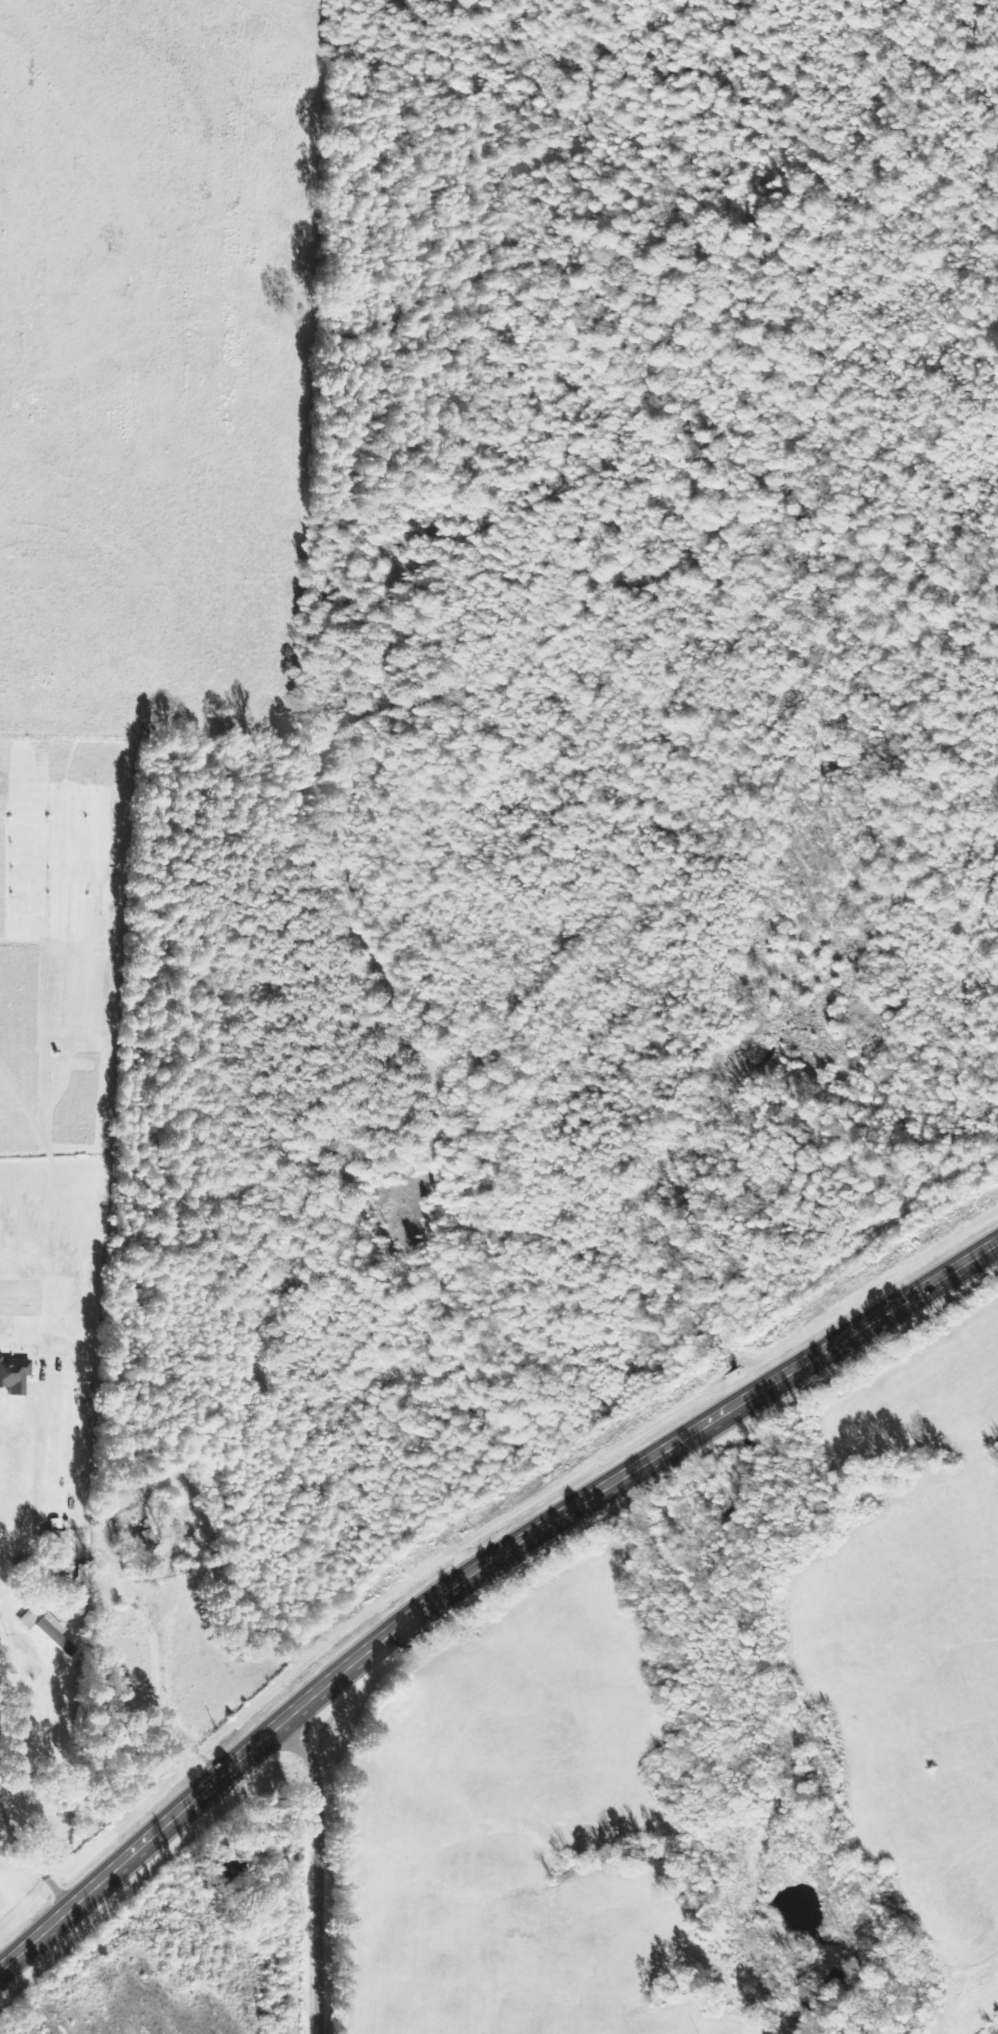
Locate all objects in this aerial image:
building: (15, 1375)
road: (473, 1575)
building: (83, 1577)
building: (49, 1630)
road: (315, 1871)

